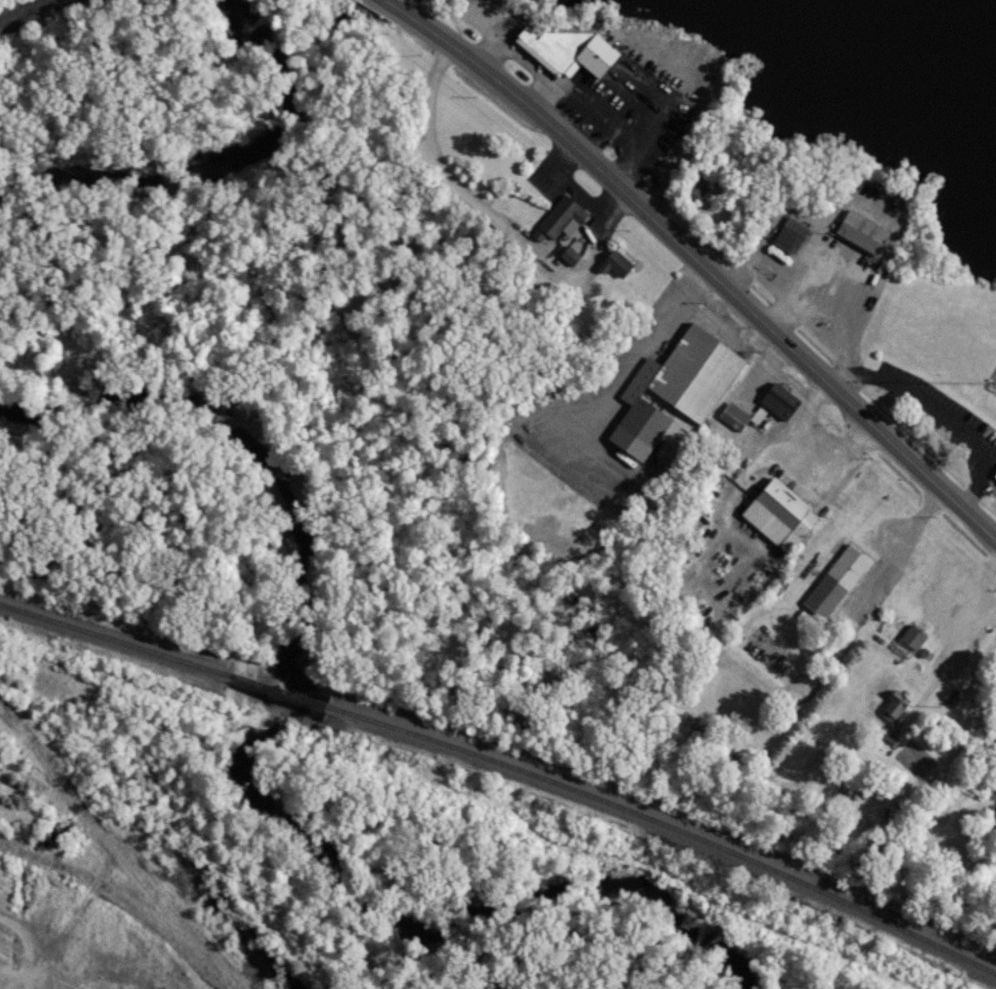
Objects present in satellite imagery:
railway: (23, 9)
building: (566, 51)
building: (695, 187)
building: (559, 220)
building: (857, 232)
building: (790, 235)
building: (569, 256)
road: (698, 260)
building: (613, 264)
building: (692, 371)
building: (777, 400)
building: (733, 416)
building: (994, 474)
building: (778, 515)
road: (892, 546)
building: (836, 581)
road: (963, 631)
building: (910, 640)
railway: (111, 641)
railway: (274, 692)
building: (893, 706)
railway: (666, 827)
railway: (111, 847)

